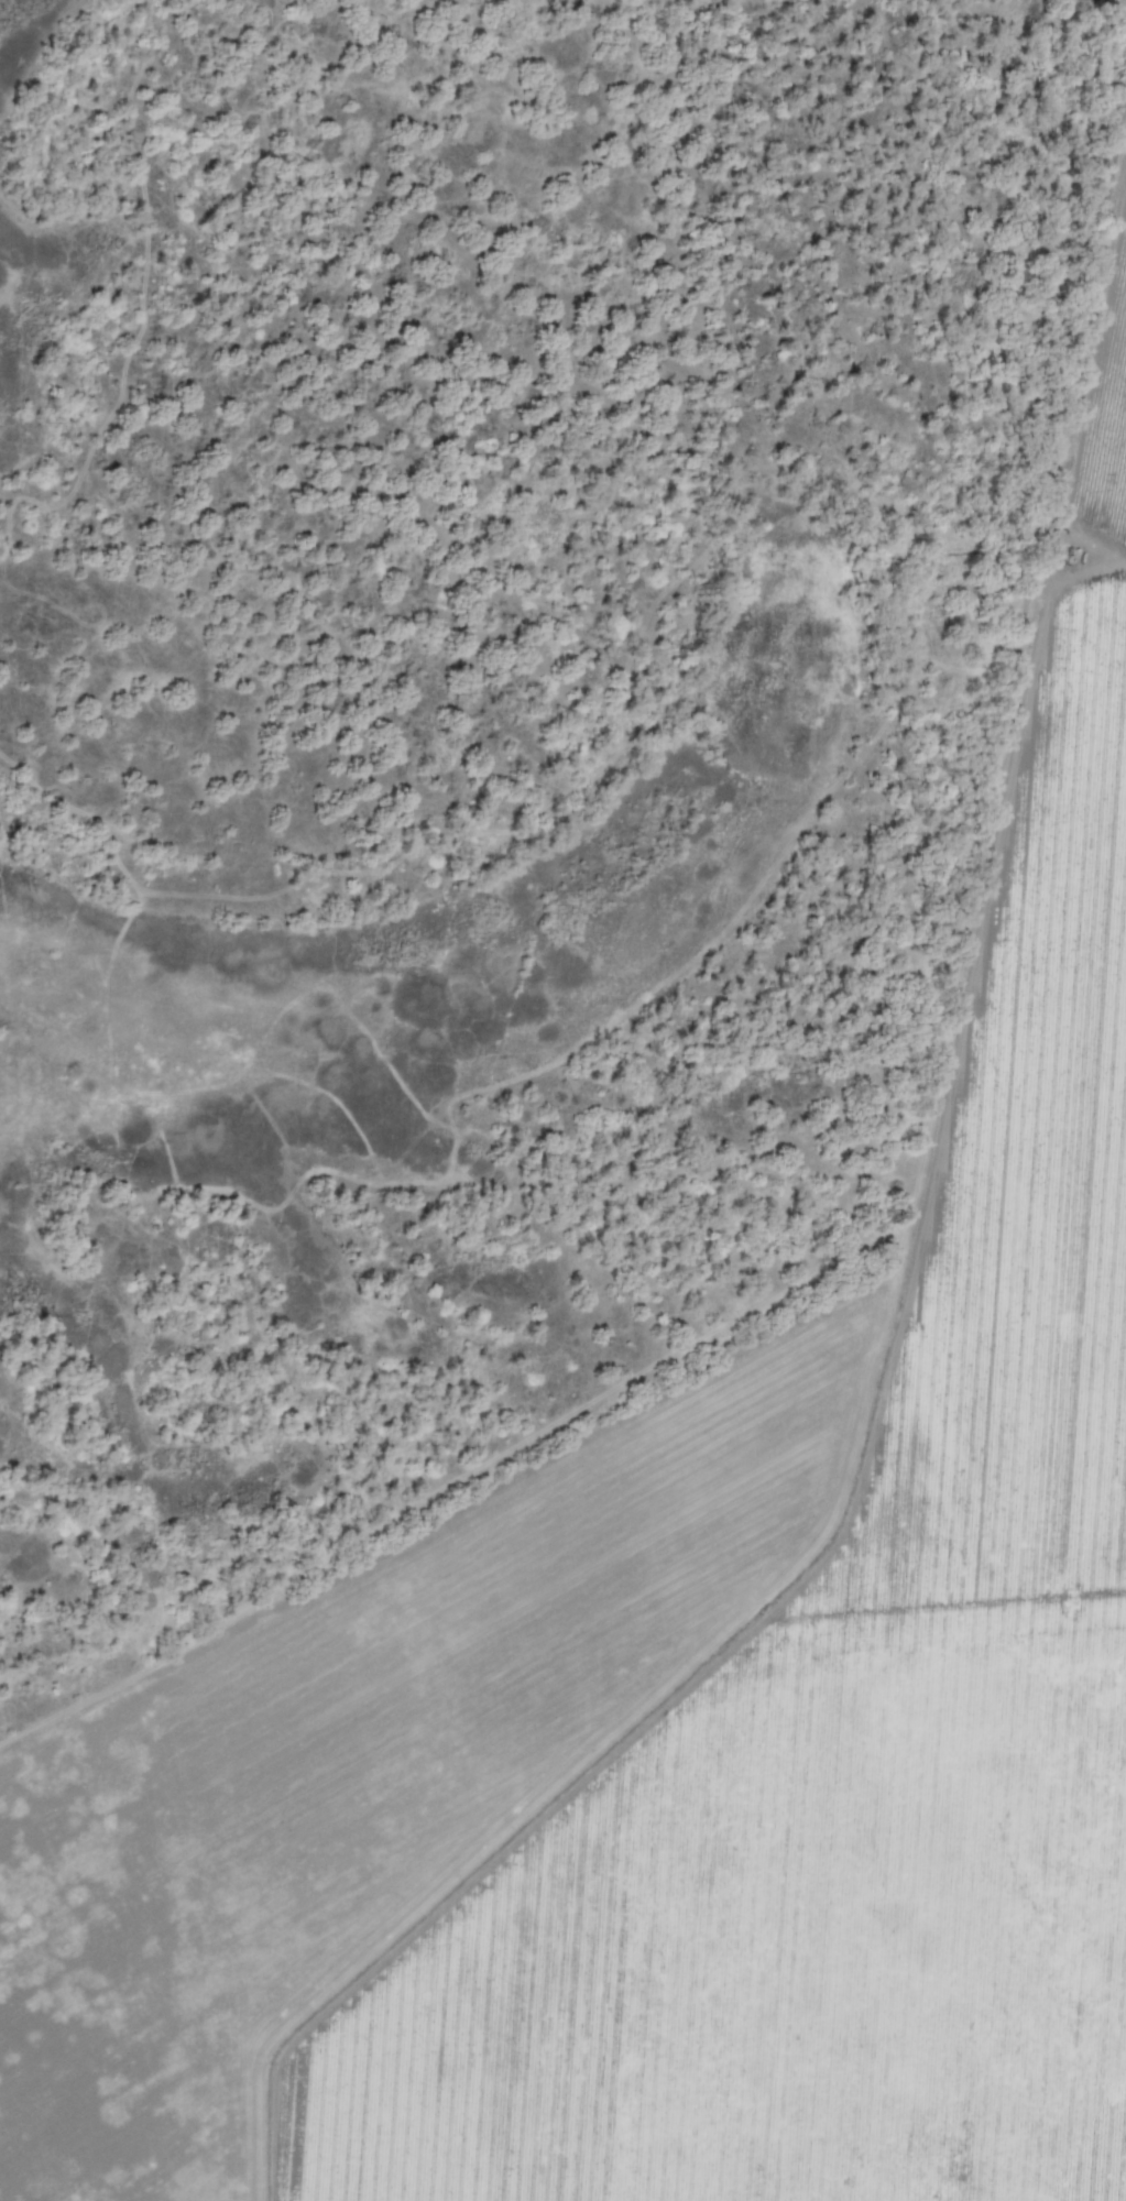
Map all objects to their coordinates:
road: (1115, 0)
road: (1118, 0)
road: (1122, 1)
road: (1080, 343)
crop: (691, 1650)

